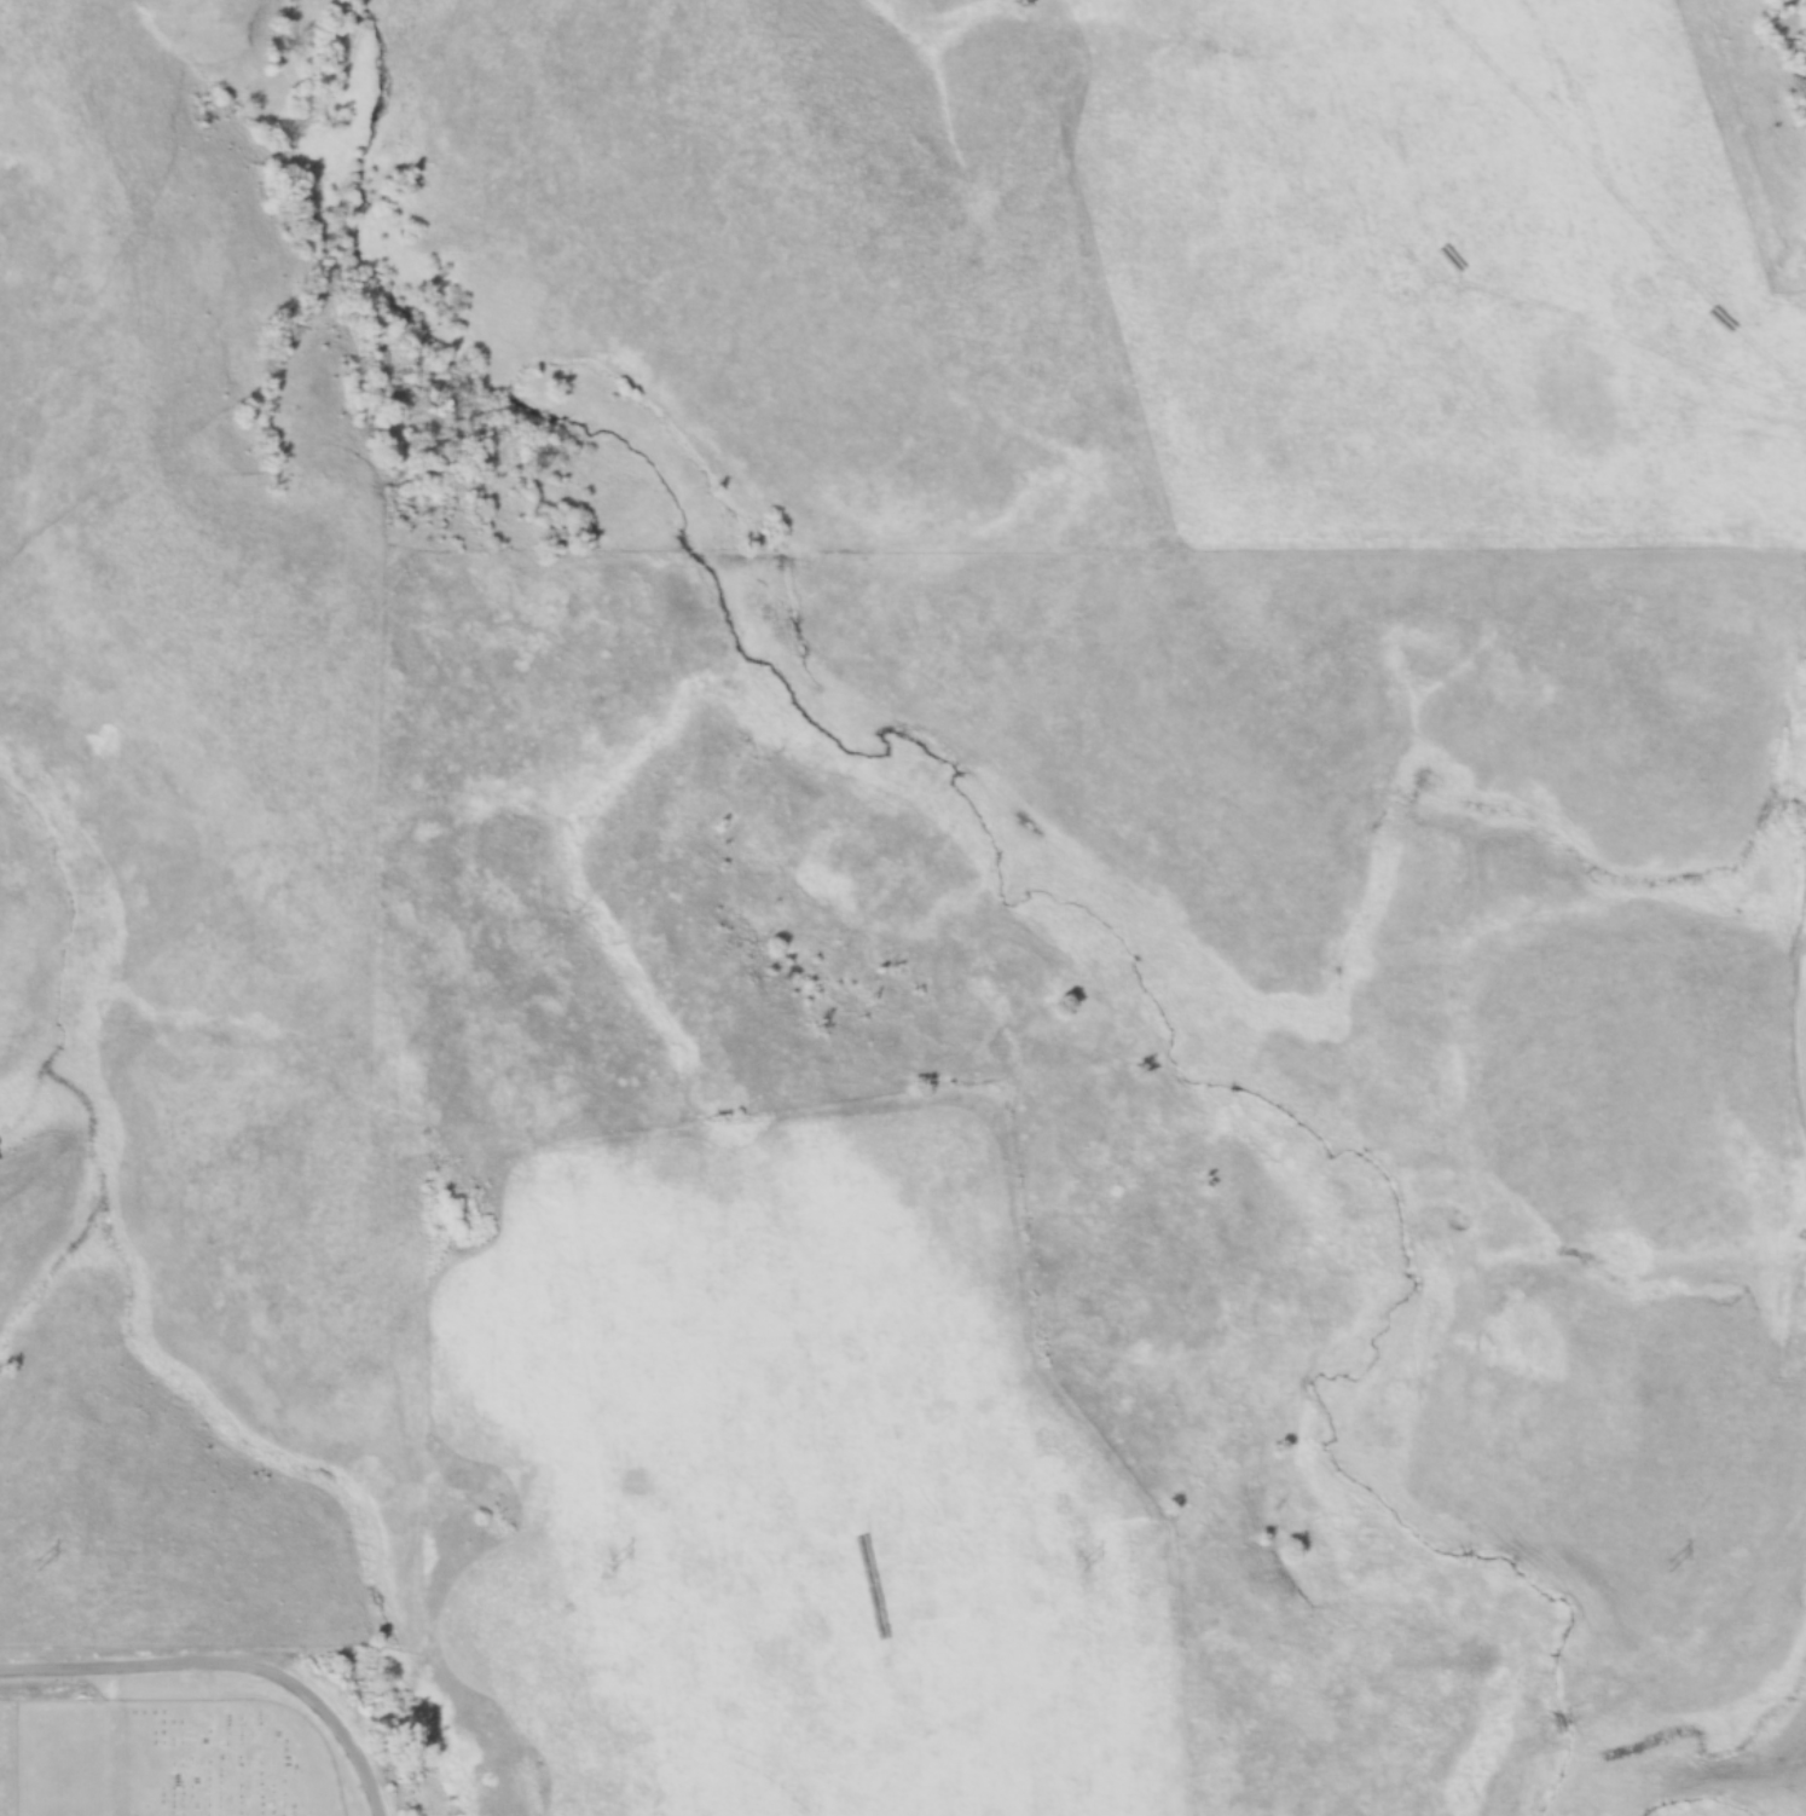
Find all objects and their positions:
power tower: (1668, 1563)
power tower: (35, 1565)
power tower: (606, 1566)
power tower: (1079, 1566)
road: (228, 1664)

